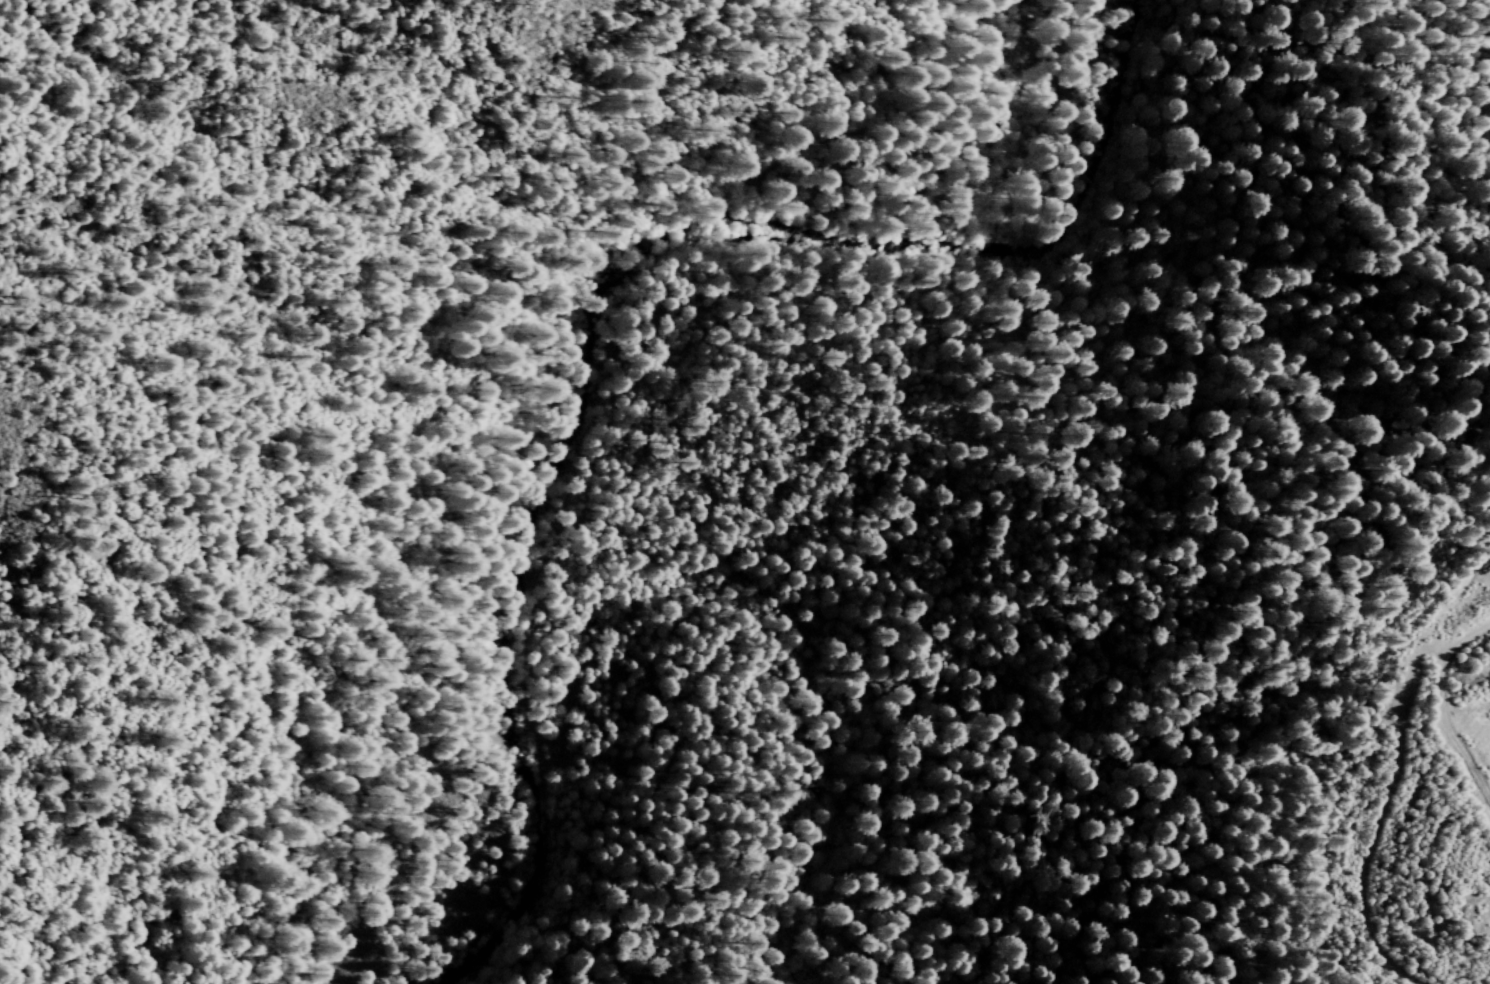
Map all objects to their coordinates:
road: (949, 18)
quarry: (1422, 788)

